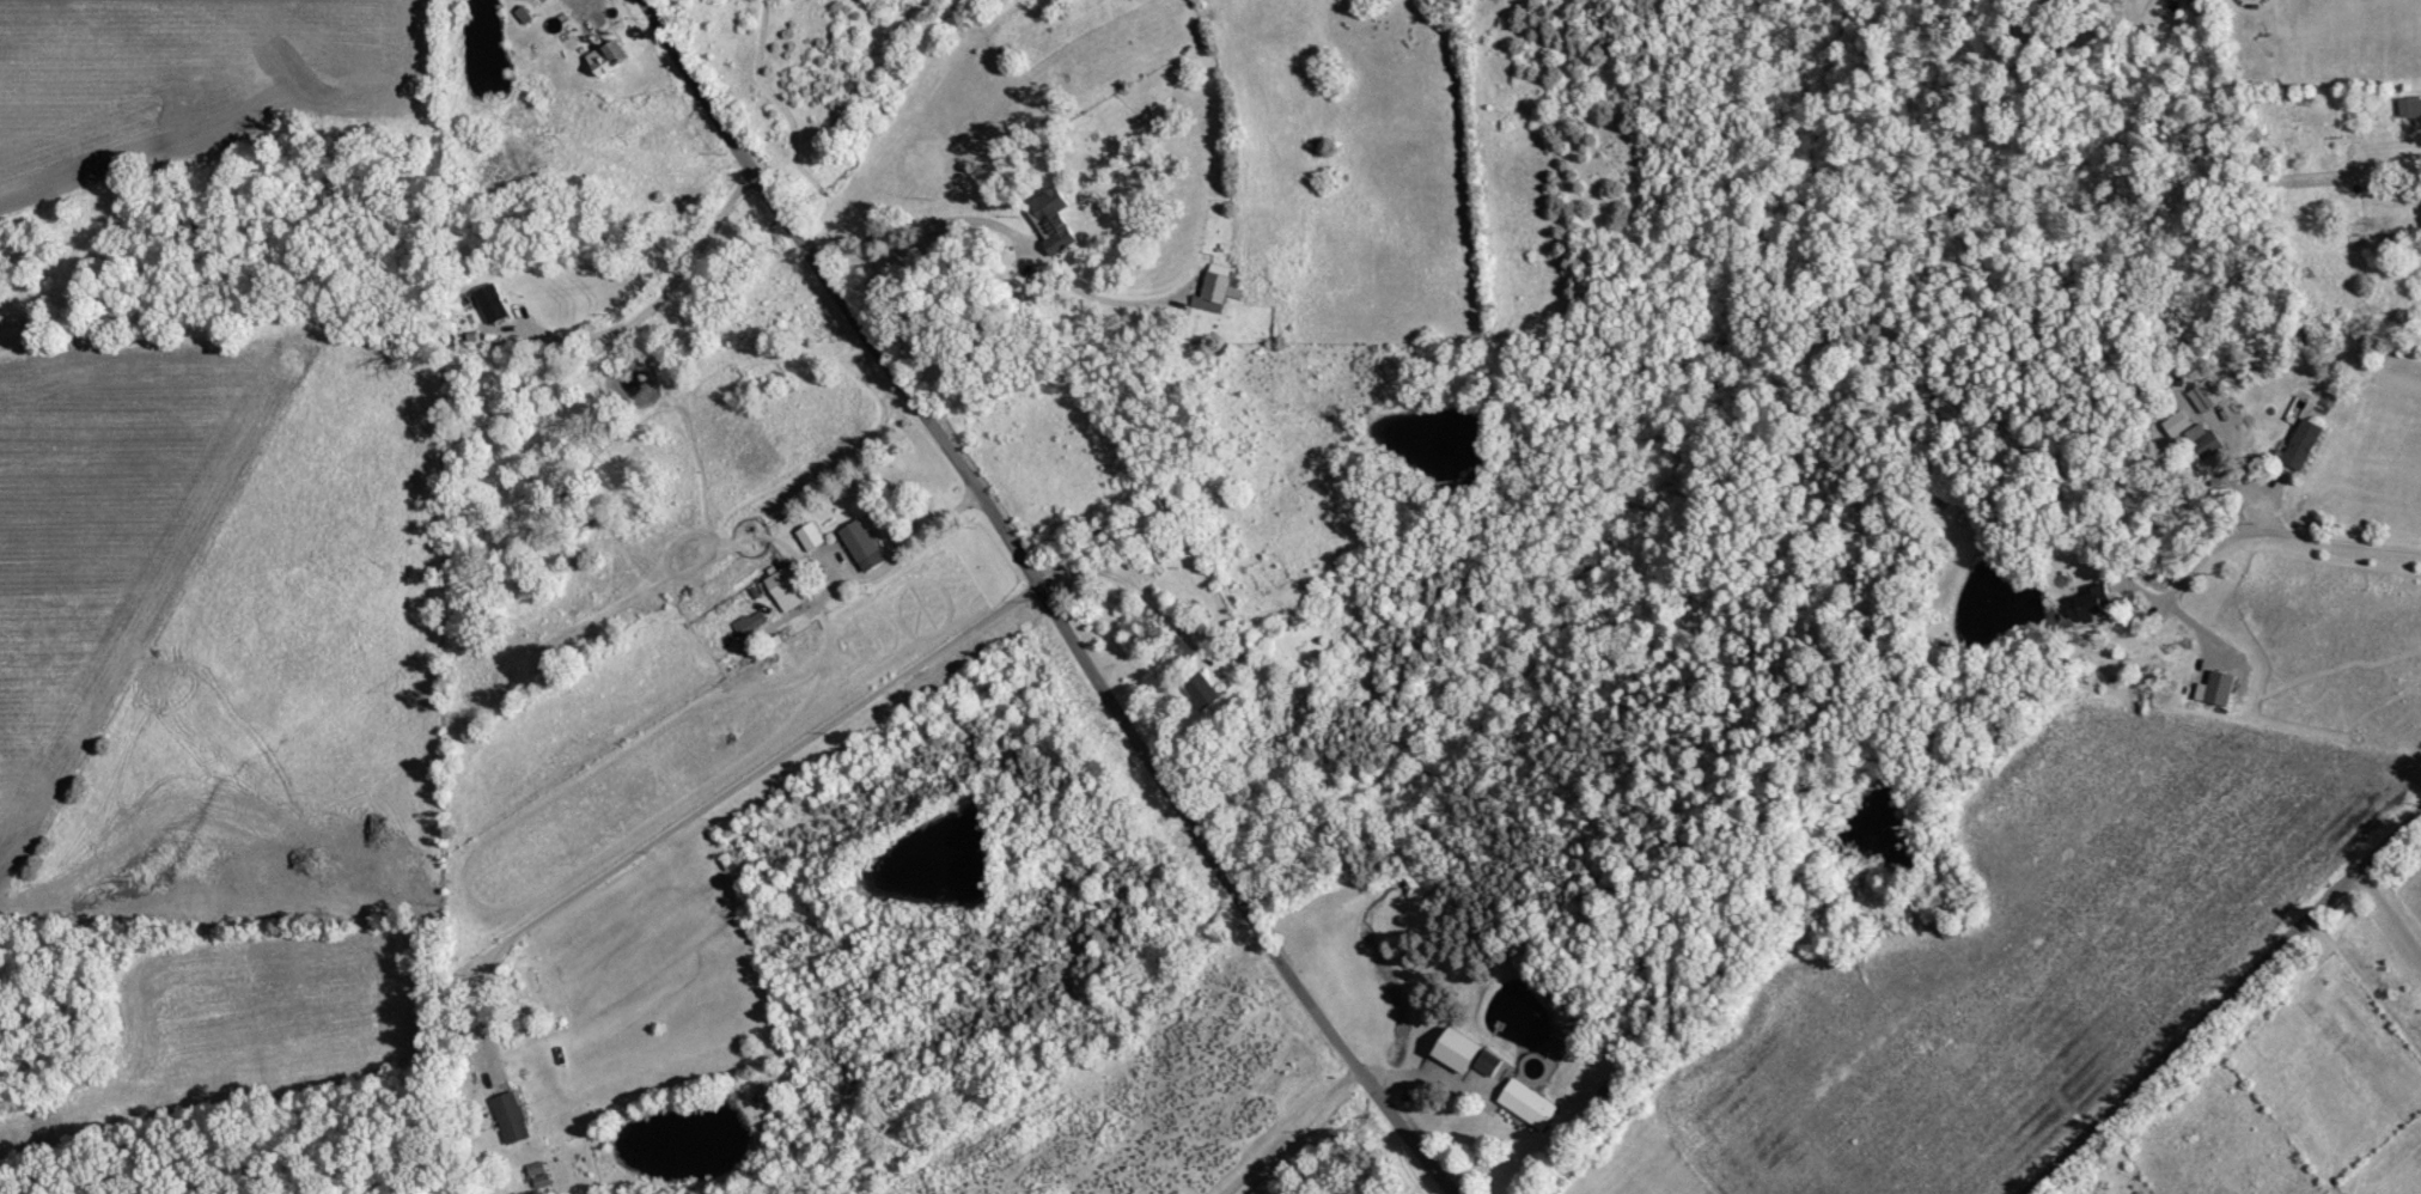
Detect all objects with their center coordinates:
road: (599, 24)
building: (608, 57)
building: (2410, 106)
building: (1051, 220)
road: (1001, 227)
building: (1218, 290)
building: (492, 304)
road: (654, 306)
building: (2209, 395)
building: (2304, 445)
building: (2208, 449)
road: (2277, 534)
building: (810, 537)
building: (862, 546)
road: (886, 547)
building: (787, 589)
road: (1049, 596)
road: (1142, 596)
building: (2091, 604)
building: (749, 623)
building: (2218, 689)
building: (1201, 692)
road: (714, 793)
road: (2388, 913)
road: (2220, 999)
building: (1559, 1047)
building: (1457, 1049)
building: (1488, 1061)
building: (1527, 1103)
building: (511, 1116)
road: (1295, 1132)

